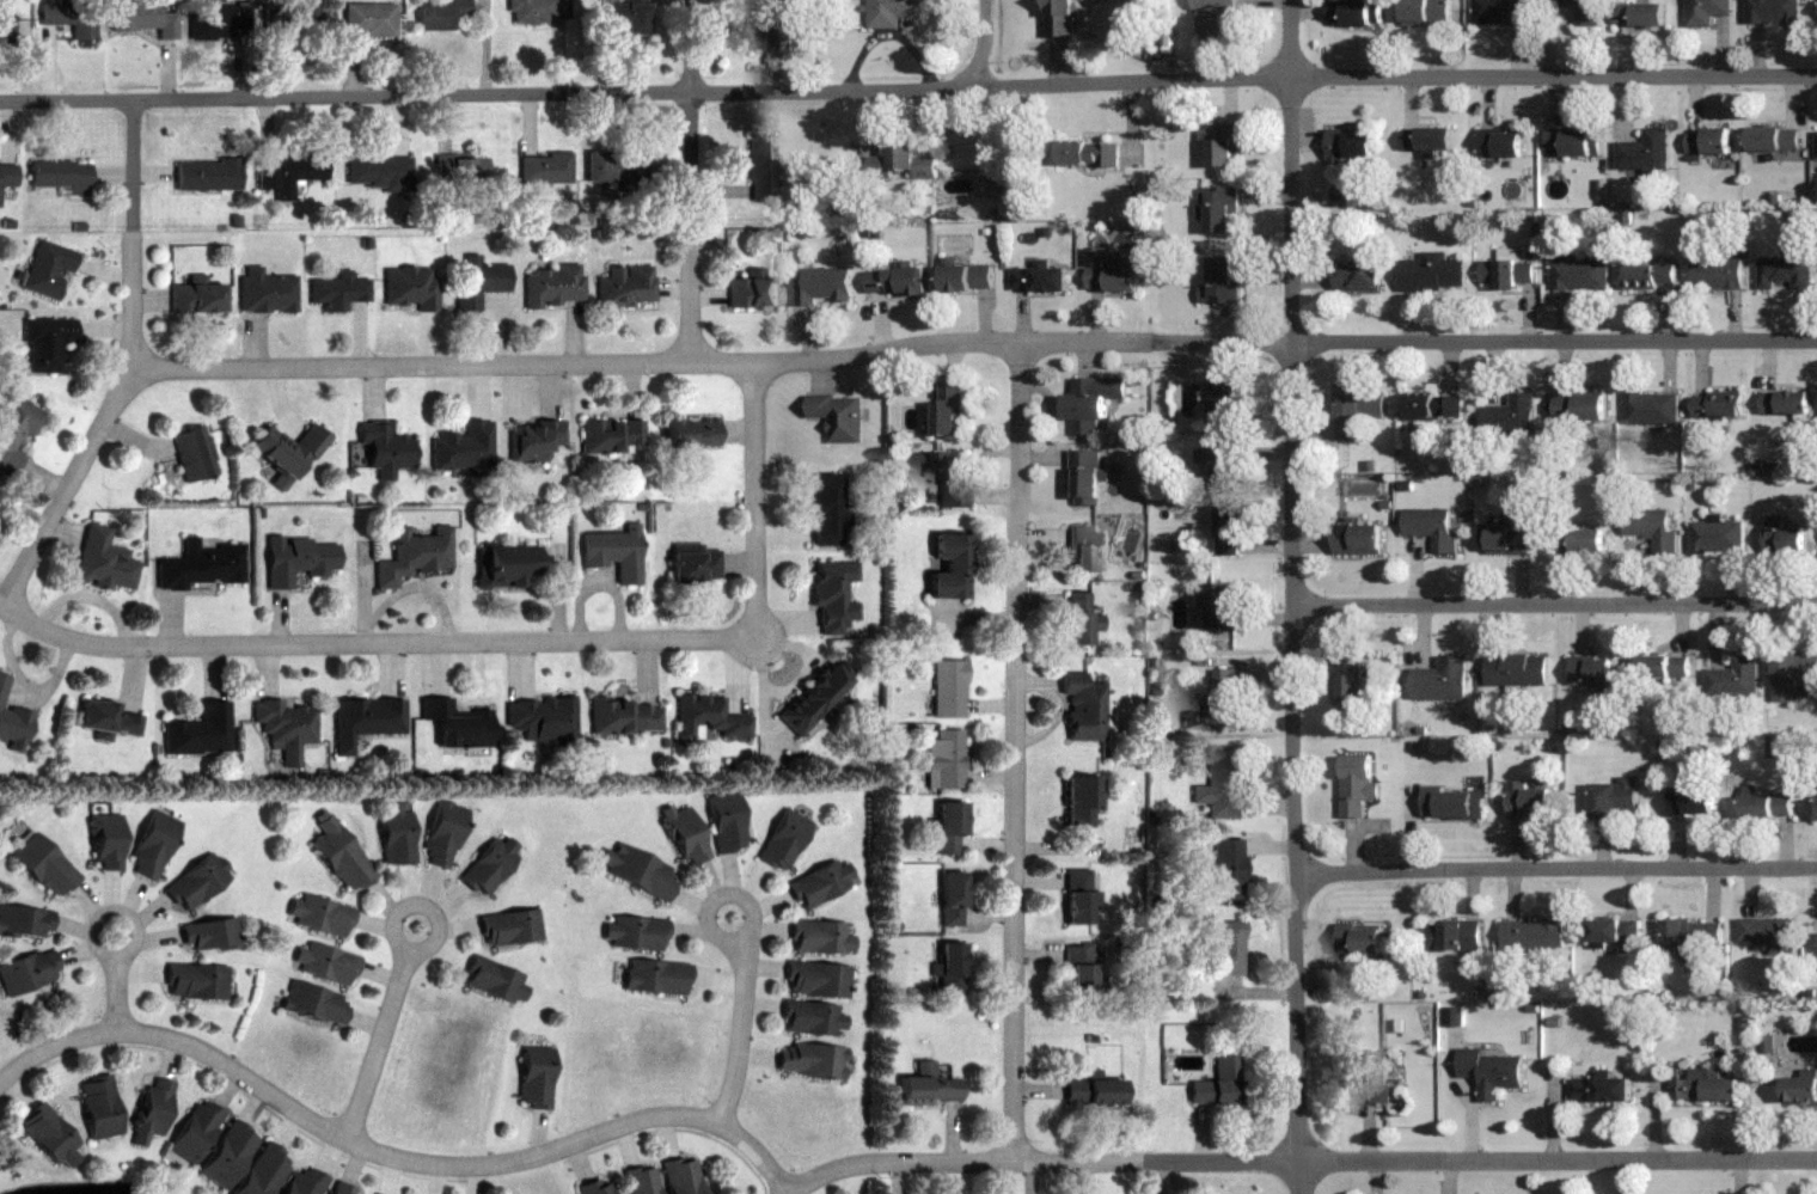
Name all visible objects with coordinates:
building: (1580, 10)
building: (539, 11)
building: (892, 12)
building: (1362, 12)
building: (1426, 12)
building: (1500, 12)
building: (1706, 12)
building: (1773, 12)
building: (440, 13)
building: (135, 14)
building: (1640, 14)
building: (71, 17)
building: (288, 17)
building: (626, 17)
building: (1059, 18)
building: (222, 19)
building: (368, 19)
building: (1213, 19)
building: (769, 24)
building: (5, 25)
road: (984, 45)
road: (908, 86)
building: (1426, 137)
building: (1773, 137)
building: (1707, 140)
building: (1220, 142)
building: (1572, 142)
building: (1500, 143)
building: (1816, 143)
building: (1348, 145)
building: (1644, 152)
building: (1089, 153)
building: (903, 161)
building: (761, 166)
building: (460, 167)
building: (546, 167)
building: (616, 167)
building: (380, 170)
building: (7, 173)
building: (207, 173)
building: (287, 173)
building: (59, 176)
road: (691, 178)
building: (998, 185)
building: (1218, 208)
building: (48, 269)
building: (1111, 270)
building: (1432, 271)
building: (1577, 271)
building: (1717, 271)
building: (1784, 271)
building: (1506, 273)
building: (1357, 274)
building: (1650, 276)
building: (967, 277)
building: (1039, 278)
building: (894, 280)
building: (479, 281)
building: (1222, 281)
building: (410, 286)
building: (553, 286)
building: (626, 286)
building: (825, 286)
building: (265, 290)
building: (337, 290)
building: (753, 292)
building: (196, 295)
road: (975, 338)
building: (45, 343)
road: (135, 369)
building: (1090, 402)
building: (1223, 403)
building: (1785, 403)
building: (1715, 405)
building: (1432, 406)
building: (949, 408)
building: (1578, 408)
building: (1650, 408)
building: (1357, 411)
building: (1511, 415)
building: (839, 416)
building: (14, 429)
building: (691, 433)
building: (611, 436)
building: (534, 440)
building: (385, 448)
building: (464, 449)
building: (286, 453)
building: (192, 454)
building: (1218, 465)
building: (952, 478)
building: (1085, 478)
road: (758, 494)
building: (827, 509)
building: (1431, 526)
building: (1651, 527)
building: (1228, 529)
building: (1717, 535)
building: (1506, 537)
building: (1358, 538)
building: (1785, 539)
building: (1579, 540)
building: (1084, 547)
building: (614, 552)
building: (414, 555)
building: (296, 559)
building: (103, 561)
building: (200, 565)
building: (504, 565)
building: (948, 565)
building: (695, 567)
building: (832, 594)
road: (1292, 596)
road: (1555, 600)
building: (1223, 606)
building: (1081, 619)
road: (369, 641)
building: (1664, 666)
building: (1517, 669)
building: (1795, 669)
building: (1592, 674)
building: (1735, 678)
building: (1439, 679)
building: (1347, 680)
building: (948, 687)
building: (815, 694)
building: (1224, 694)
building: (1083, 706)
building: (625, 716)
building: (708, 717)
building: (540, 718)
building: (12, 720)
building: (105, 720)
building: (365, 720)
building: (455, 723)
building: (286, 727)
building: (200, 730)
road: (1017, 746)
building: (944, 759)
building: (1220, 783)
building: (1357, 785)
building: (1613, 797)
building: (1079, 801)
building: (1528, 801)
building: (1691, 801)
building: (1452, 804)
building: (1767, 806)
building: (726, 822)
building: (949, 828)
building: (396, 833)
building: (442, 833)
building: (684, 834)
building: (784, 840)
building: (105, 841)
building: (152, 845)
building: (339, 853)
building: (43, 865)
building: (489, 865)
road: (1556, 865)
building: (1225, 869)
building: (636, 870)
building: (196, 882)
building: (819, 884)
building: (1081, 898)
building: (952, 899)
road: (709, 906)
road: (398, 907)
road: (97, 916)
building: (319, 916)
building: (25, 921)
building: (509, 927)
building: (634, 932)
building: (1616, 933)
building: (1769, 933)
building: (208, 935)
building: (1534, 935)
building: (1452, 936)
building: (820, 937)
building: (1690, 937)
building: (1359, 941)
building: (1228, 949)
building: (324, 963)
building: (950, 968)
building: (1082, 969)
building: (27, 972)
building: (655, 976)
building: (818, 979)
building: (196, 981)
building: (495, 981)
road: (115, 993)
building: (314, 1004)
building: (1454, 1016)
building: (813, 1020)
road: (741, 1033)
road: (378, 1045)
building: (810, 1061)
building: (1491, 1071)
building: (534, 1077)
building: (1375, 1082)
building: (1219, 1084)
building: (929, 1086)
building: (1705, 1089)
building: (1800, 1089)
building: (1601, 1090)
building: (1095, 1091)
building: (98, 1107)
building: (152, 1112)
building: (195, 1131)
building: (47, 1133)
road: (392, 1155)
building: (228, 1156)
road: (1298, 1156)
building: (264, 1171)
building: (681, 1176)
building: (642, 1181)
building: (305, 1182)
building: (599, 1187)
building: (343, 1189)

